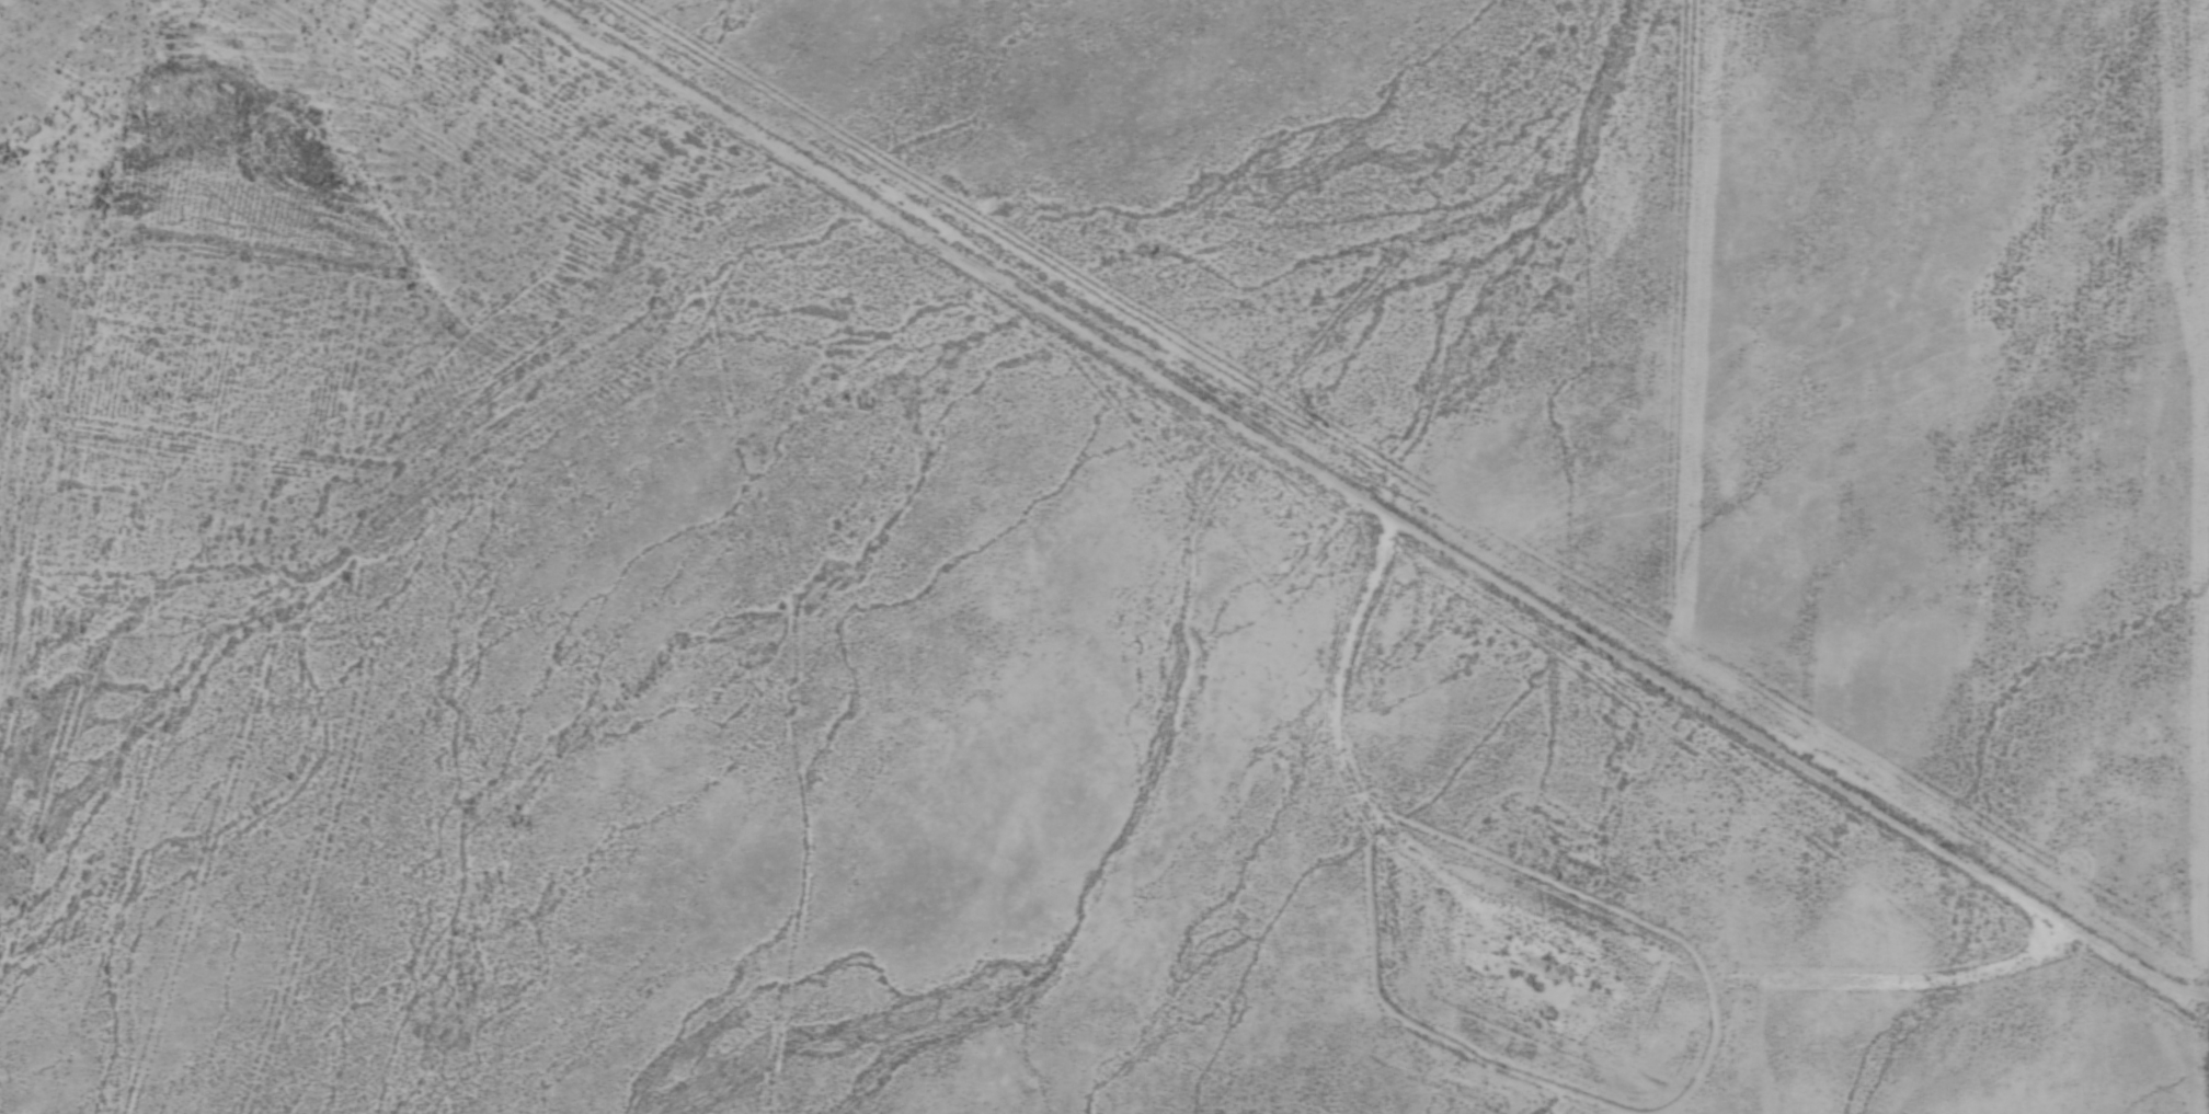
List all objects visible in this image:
road: (1369, 498)

